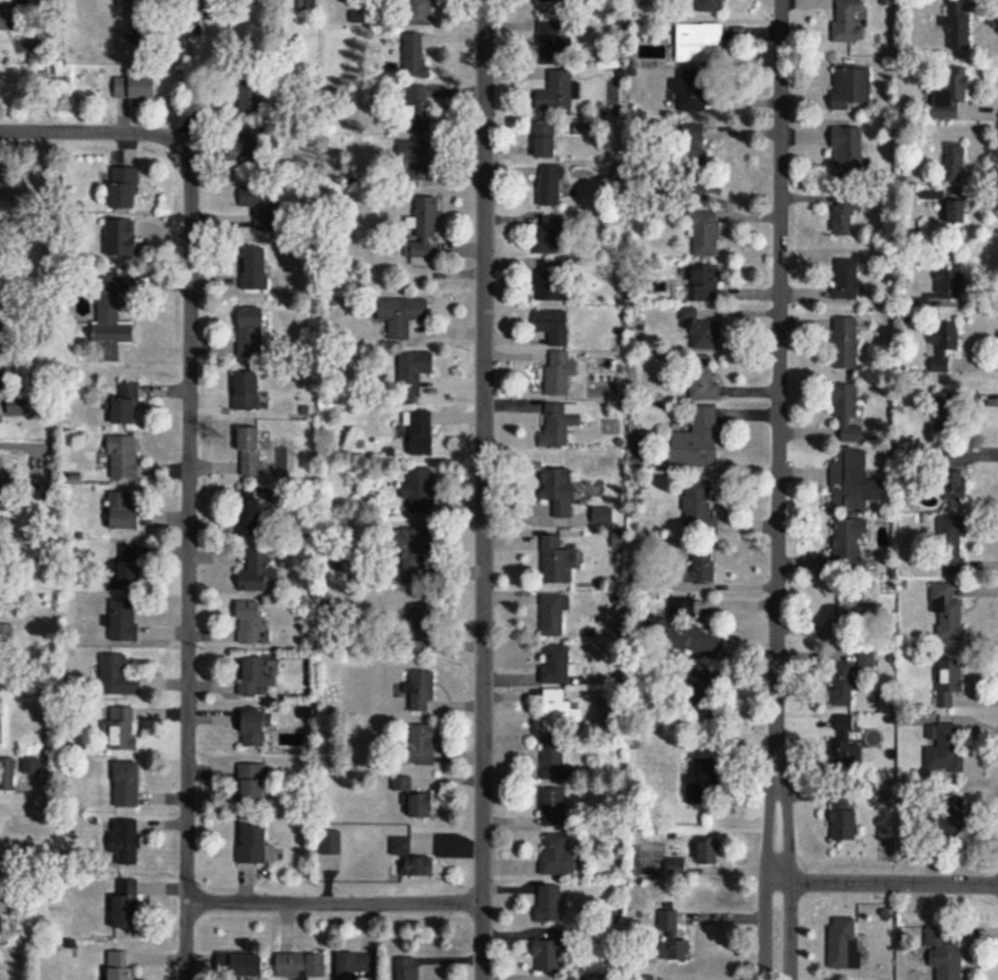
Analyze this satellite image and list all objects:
building: (557, 1)
building: (308, 7)
building: (710, 7)
building: (419, 12)
building: (851, 20)
building: (698, 43)
building: (551, 44)
building: (416, 57)
building: (852, 86)
building: (135, 90)
building: (692, 93)
building: (558, 94)
building: (950, 94)
building: (251, 98)
building: (418, 110)
road: (91, 132)
building: (546, 142)
building: (692, 149)
building: (254, 150)
building: (849, 152)
building: (417, 162)
building: (955, 162)
building: (551, 189)
building: (125, 190)
building: (263, 208)
building: (957, 210)
building: (843, 215)
building: (424, 233)
building: (707, 236)
building: (551, 237)
building: (121, 239)
building: (256, 270)
building: (847, 279)
building: (706, 286)
building: (552, 288)
building: (945, 292)
building: (402, 316)
building: (111, 321)
building: (554, 328)
building: (702, 332)
building: (251, 333)
building: (845, 342)
building: (943, 345)
building: (414, 373)
building: (560, 374)
building: (704, 381)
building: (248, 392)
building: (17, 407)
building: (127, 407)
building: (849, 412)
building: (946, 414)
building: (564, 417)
building: (422, 434)
building: (697, 441)
building: (251, 453)
building: (125, 459)
building: (852, 481)
building: (955, 484)
road: (484, 490)
road: (780, 490)
building: (561, 491)
building: (420, 492)
building: (6, 501)
building: (700, 509)
building: (124, 512)
building: (603, 517)
building: (249, 518)
building: (850, 546)
building: (414, 552)
building: (954, 552)
road: (188, 560)
building: (559, 562)
building: (129, 567)
building: (703, 567)
building: (260, 575)
building: (641, 580)
building: (855, 609)
building: (950, 611)
building: (553, 617)
building: (124, 622)
building: (250, 623)
building: (421, 629)
building: (6, 631)
building: (684, 632)
building: (866, 660)
building: (556, 667)
building: (119, 677)
building: (256, 678)
building: (703, 679)
building: (951, 681)
building: (842, 685)
building: (422, 691)
building: (560, 713)
building: (256, 728)
building: (123, 729)
building: (422, 745)
building: (847, 748)
building: (945, 748)
building: (553, 760)
building: (7, 775)
building: (703, 781)
building: (253, 784)
building: (127, 785)
building: (415, 798)
building: (555, 808)
building: (950, 814)
building: (844, 821)
building: (126, 842)
building: (331, 843)
building: (254, 844)
building: (710, 853)
building: (558, 856)
building: (412, 859)
road: (888, 882)
road: (335, 903)
building: (551, 905)
building: (127, 906)
building: (673, 939)
building: (844, 944)
building: (551, 953)
building: (946, 958)
building: (121, 966)
building: (242, 966)
building: (302, 966)
building: (357, 966)
building: (407, 969)

